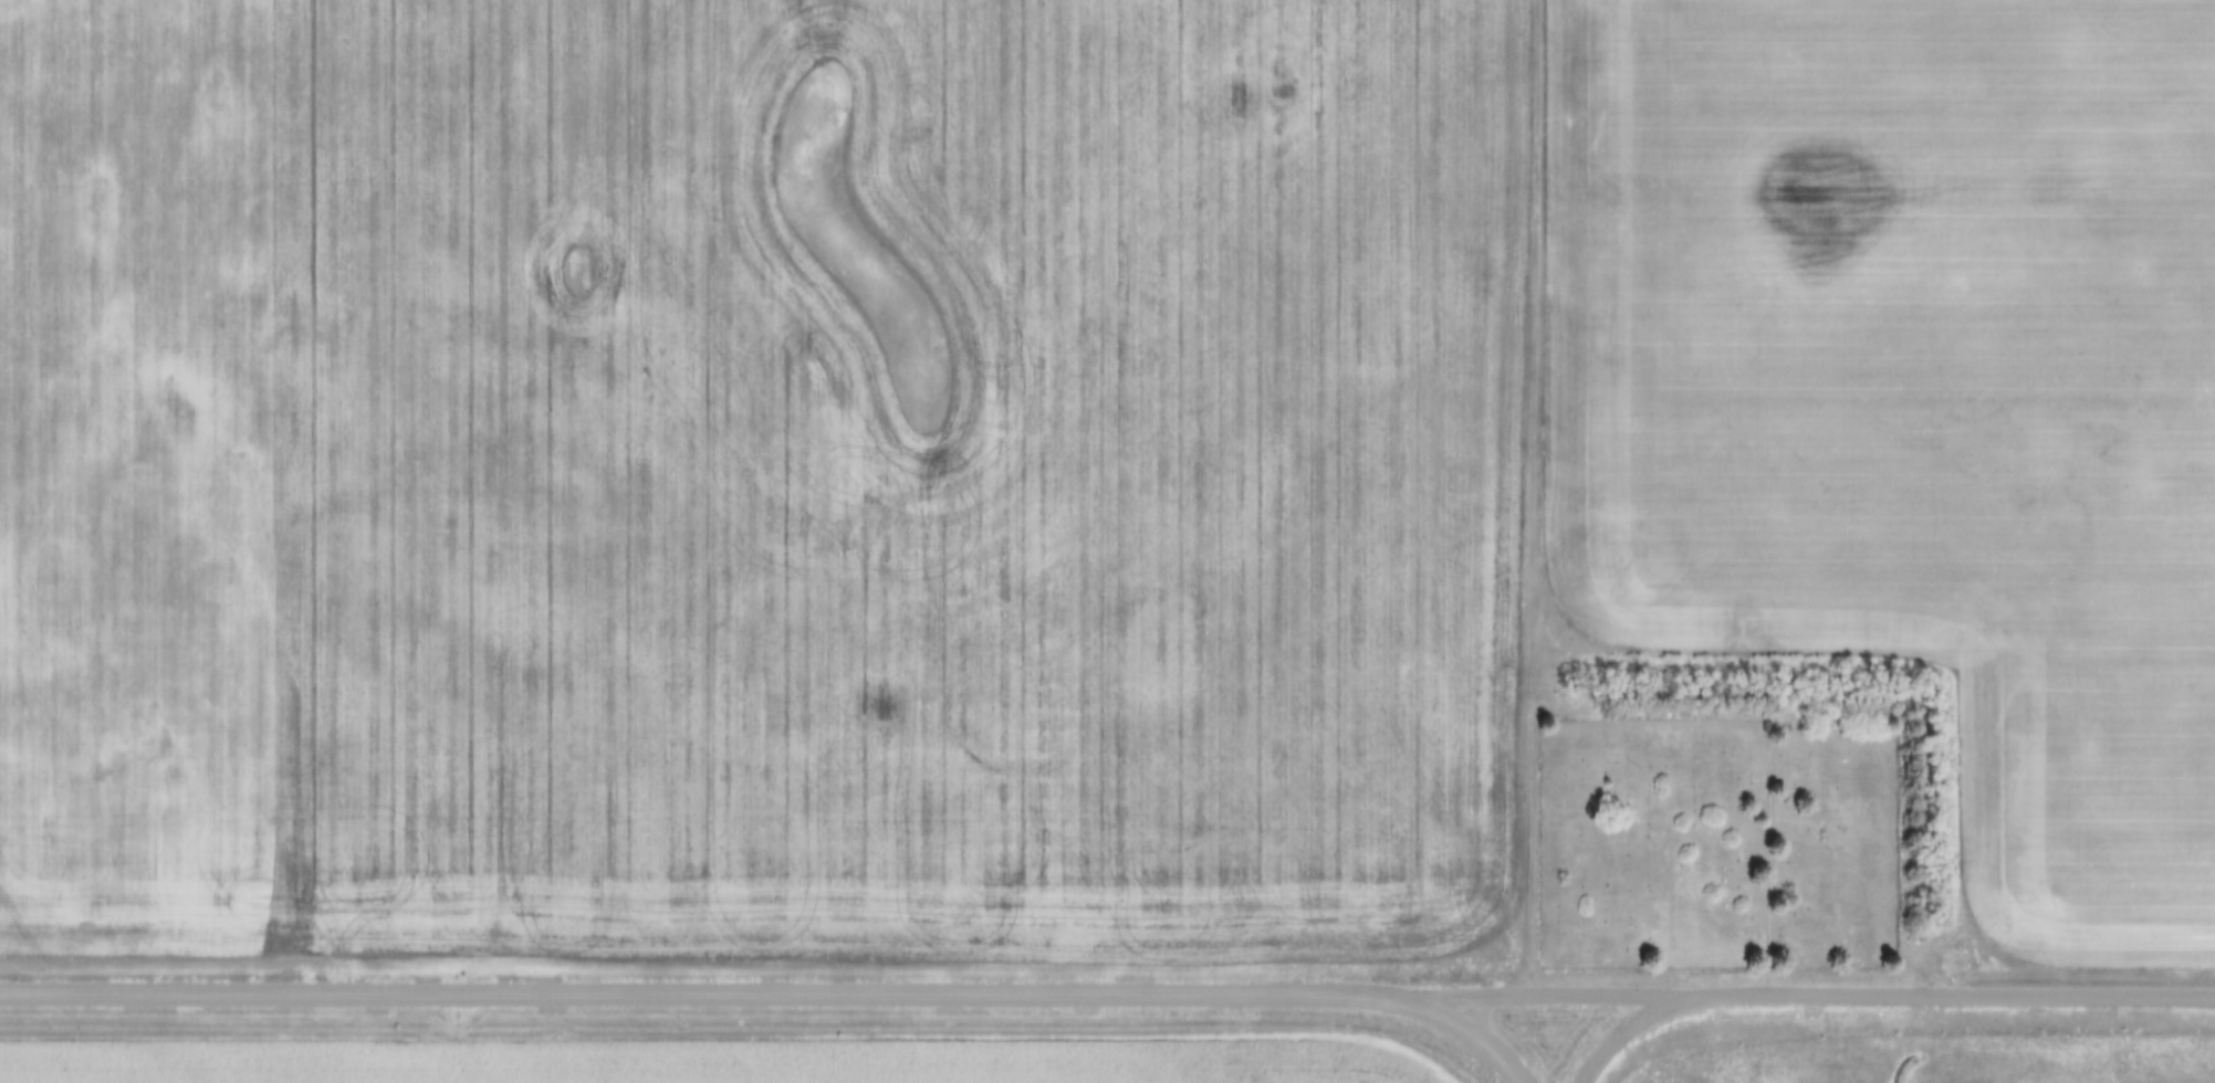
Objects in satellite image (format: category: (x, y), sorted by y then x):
road: (1542, 496)
road: (1768, 740)
road: (703, 990)
road: (1810, 993)
road: (1631, 1026)
road: (1467, 1034)

